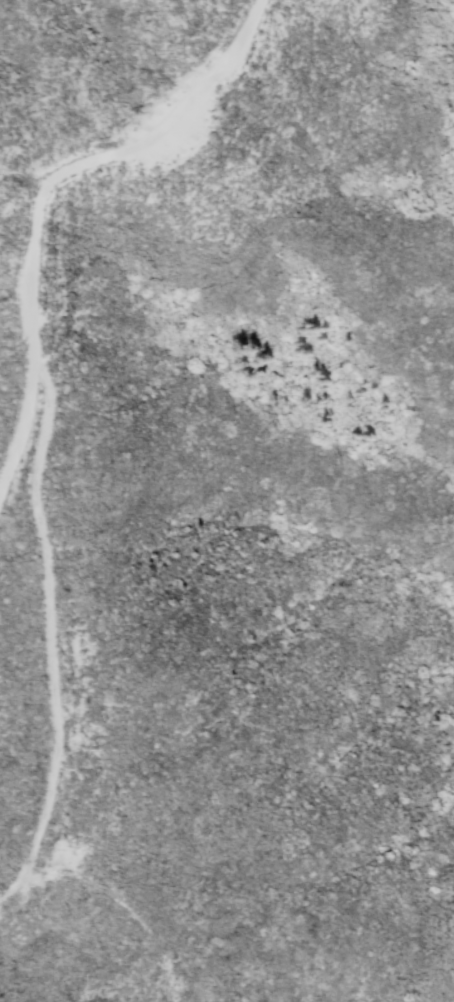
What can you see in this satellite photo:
road: (37, 189)
road: (51, 633)
road: (120, 912)

